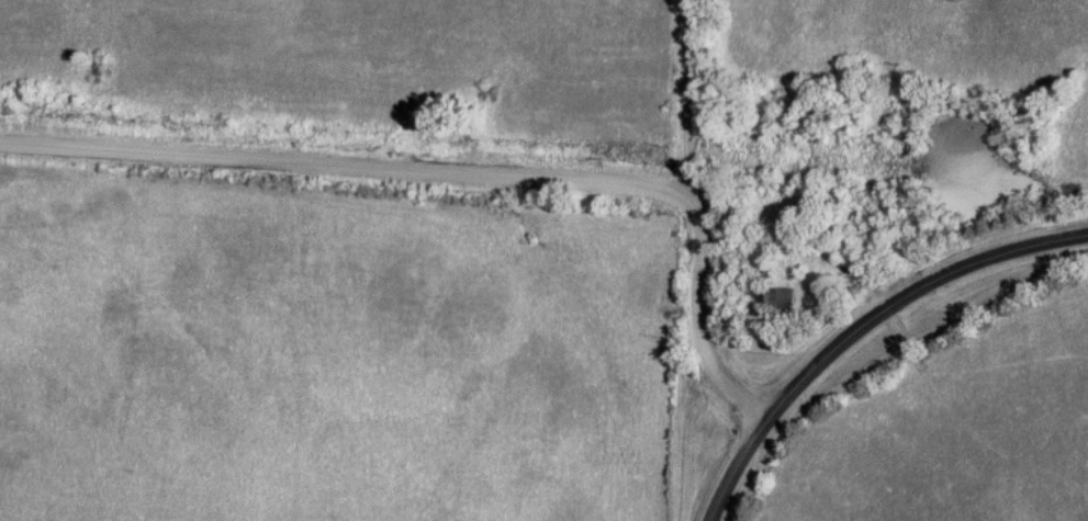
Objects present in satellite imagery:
road: (683, 97)
road: (470, 173)
road: (910, 296)
building: (772, 299)
road: (737, 467)

